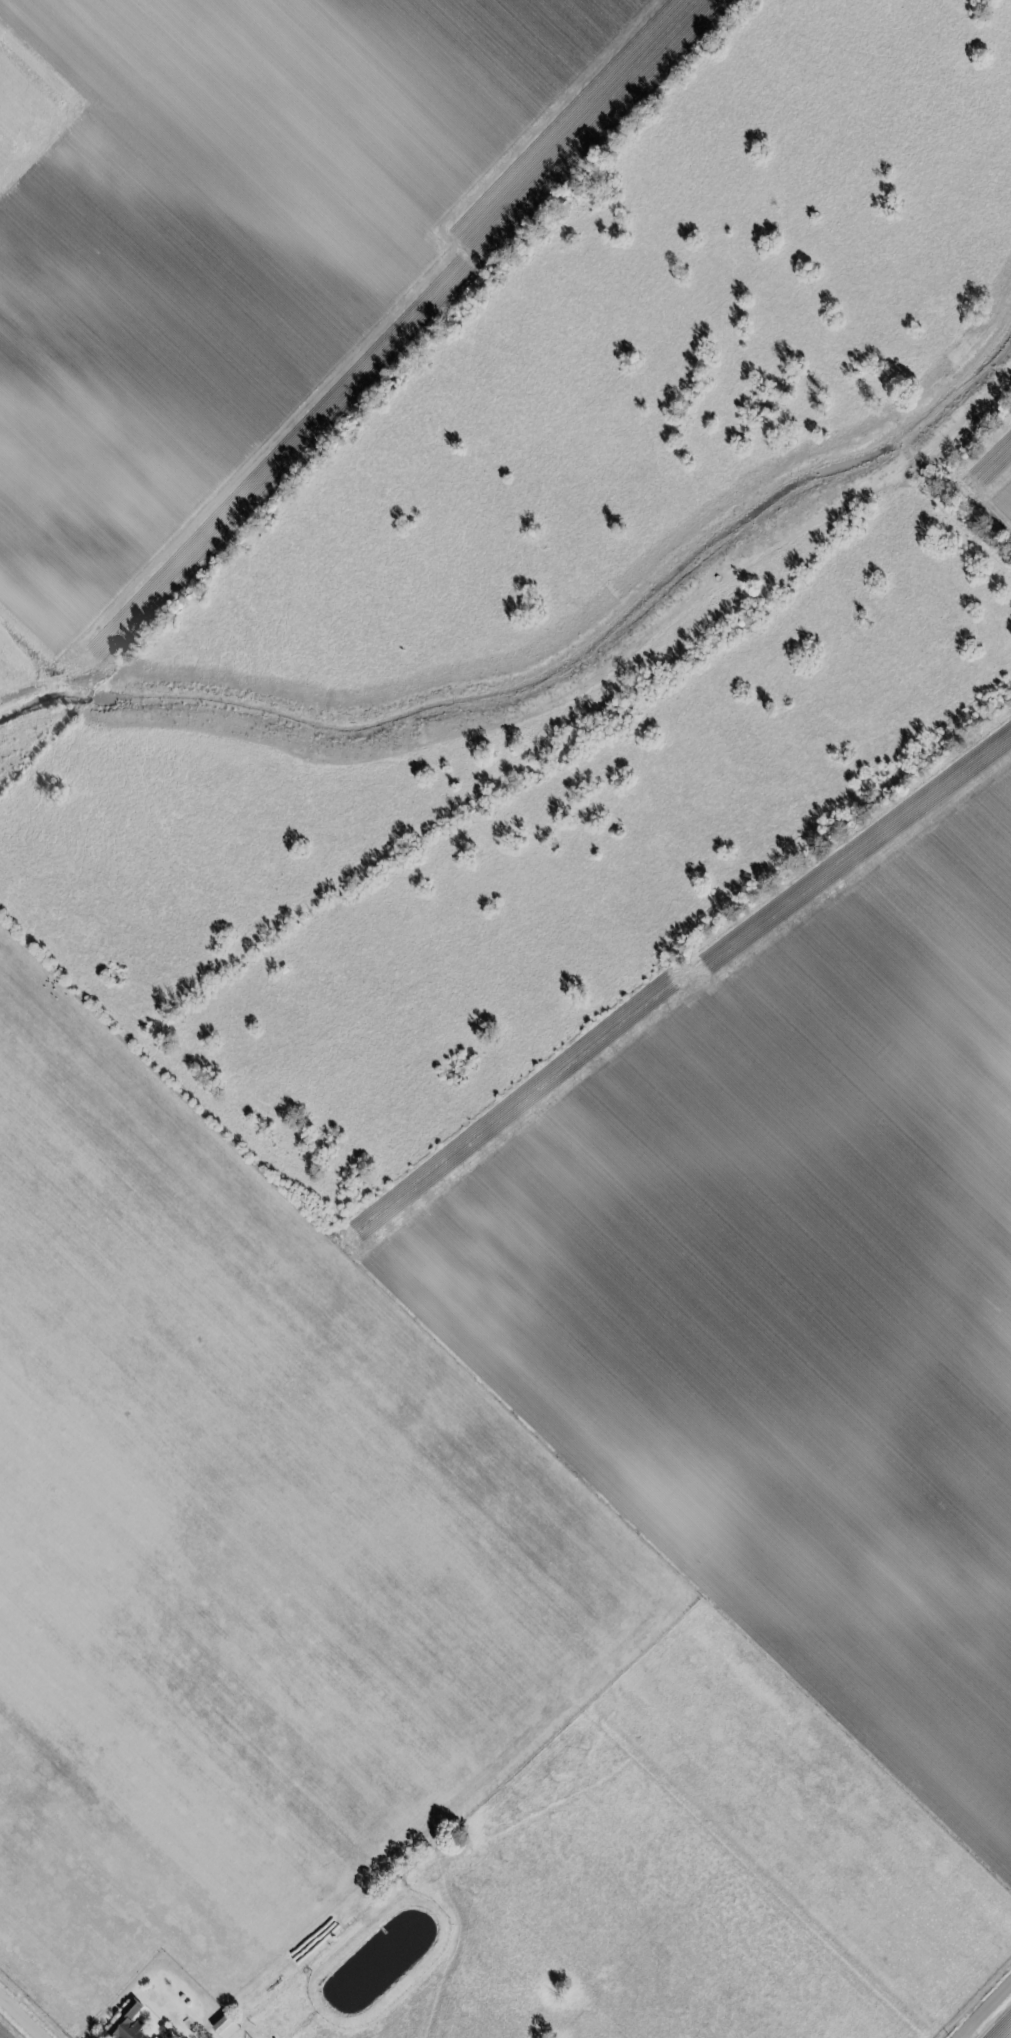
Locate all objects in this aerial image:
road: (984, 2009)
road: (235, 2010)
road: (22, 2016)
building: (130, 2023)
building: (226, 2027)

